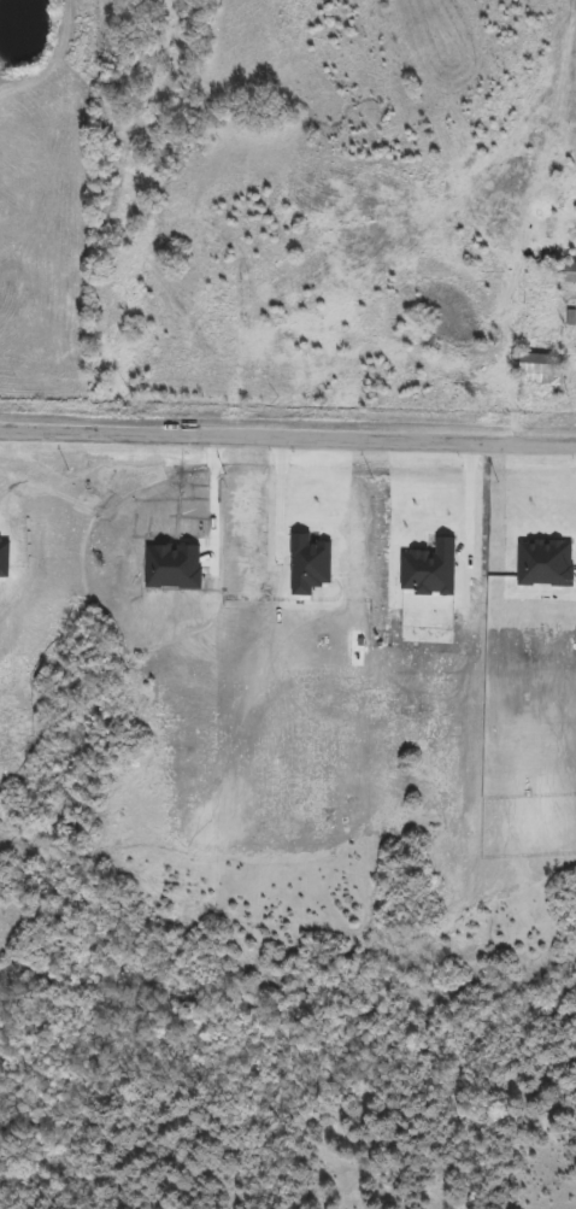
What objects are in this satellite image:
building: (566, 272)
road: (288, 434)
road: (278, 498)

